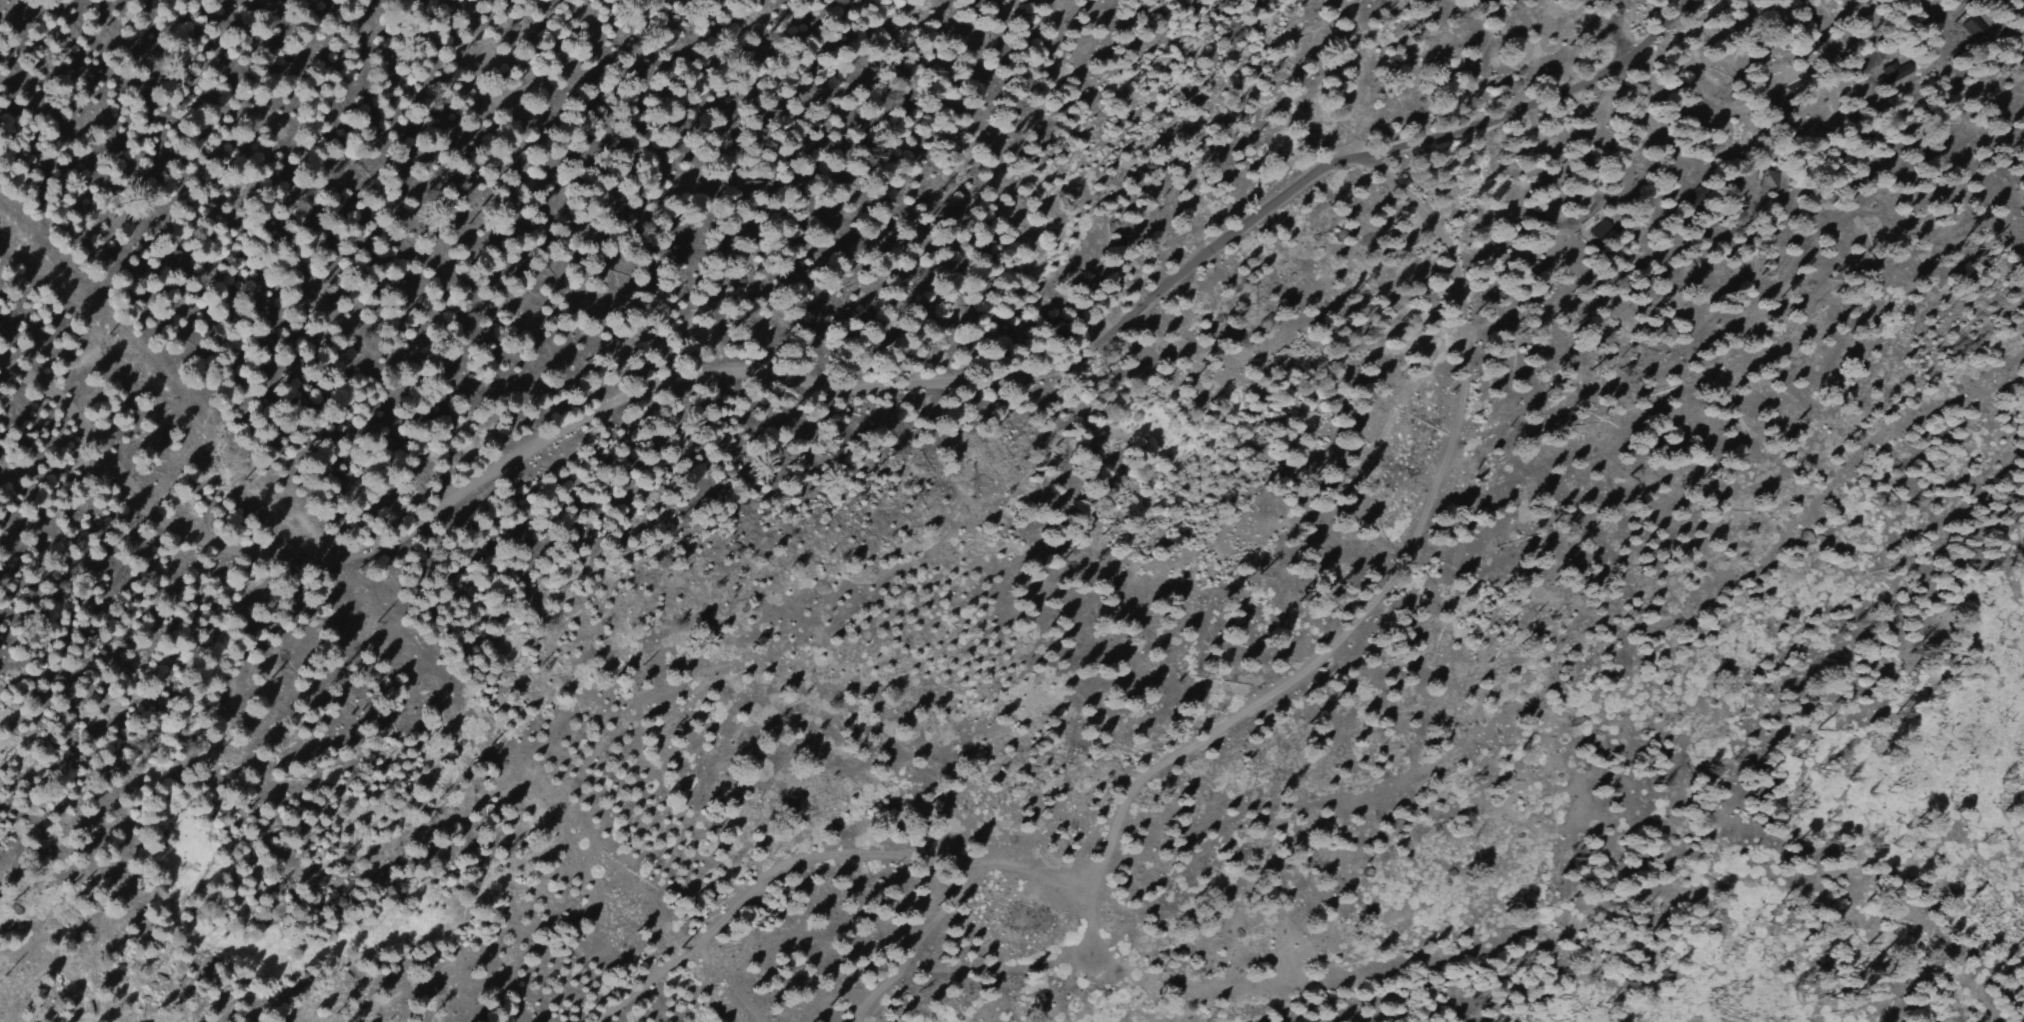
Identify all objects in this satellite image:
building: (1891, 73)
power tower: (124, 333)
road: (856, 381)
power tower: (478, 738)
road: (1189, 746)
power tower: (671, 943)

